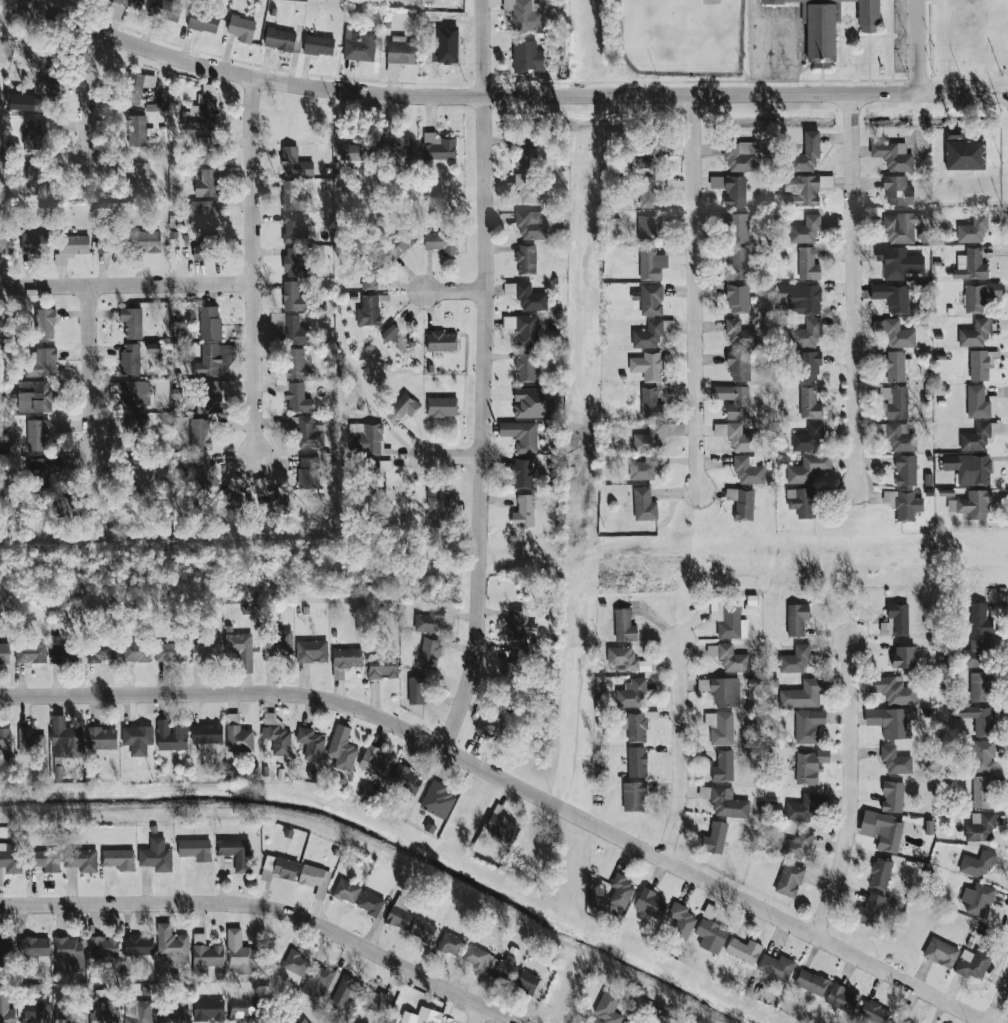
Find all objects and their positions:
building: (153, 7)
road: (753, 11)
building: (524, 14)
building: (868, 16)
road: (774, 21)
building: (203, 22)
building: (241, 28)
building: (818, 31)
building: (280, 39)
building: (359, 44)
building: (318, 45)
road: (921, 47)
building: (400, 53)
building: (527, 56)
building: (49, 62)
building: (50, 86)
building: (137, 87)
road: (87, 92)
road: (503, 96)
building: (202, 112)
building: (136, 130)
building: (33, 133)
building: (399, 147)
building: (438, 147)
building: (203, 151)
building: (352, 152)
building: (963, 152)
building: (526, 153)
building: (806, 153)
building: (893, 155)
building: (740, 157)
building: (643, 162)
building: (294, 163)
building: (140, 177)
building: (35, 182)
building: (207, 183)
building: (528, 186)
building: (801, 190)
building: (897, 190)
building: (734, 191)
building: (649, 192)
building: (292, 195)
building: (204, 214)
building: (530, 224)
building: (648, 226)
building: (737, 227)
building: (900, 227)
building: (292, 228)
building: (973, 229)
building: (805, 230)
building: (147, 241)
building: (442, 242)
building: (35, 243)
building: (5, 245)
building: (106, 245)
building: (398, 245)
building: (71, 247)
building: (204, 247)
building: (526, 259)
building: (293, 262)
building: (738, 263)
building: (898, 263)
road: (252, 264)
building: (651, 264)
building: (808, 264)
building: (971, 265)
building: (369, 273)
road: (126, 285)
road: (852, 290)
road: (455, 291)
road: (694, 292)
building: (526, 296)
building: (979, 296)
building: (293, 297)
building: (892, 297)
building: (802, 298)
building: (651, 299)
building: (738, 299)
building: (368, 311)
building: (132, 322)
building: (209, 322)
building: (45, 323)
building: (291, 328)
building: (524, 330)
building: (390, 333)
building: (895, 333)
building: (976, 333)
building: (739, 334)
building: (807, 334)
building: (648, 335)
building: (441, 341)
building: (130, 359)
building: (213, 359)
building: (41, 362)
building: (294, 363)
building: (979, 365)
building: (647, 366)
building: (739, 366)
building: (808, 366)
building: (895, 366)
building: (525, 367)
road: (89, 370)
road: (484, 377)
building: (134, 394)
building: (34, 396)
building: (295, 396)
building: (210, 397)
building: (733, 400)
building: (533, 402)
building: (895, 402)
building: (977, 402)
building: (809, 403)
building: (650, 404)
building: (442, 406)
building: (400, 409)
building: (135, 424)
building: (306, 431)
building: (200, 434)
building: (37, 435)
building: (521, 435)
building: (737, 436)
building: (649, 437)
building: (900, 437)
building: (365, 438)
building: (808, 438)
road: (455, 457)
building: (38, 468)
building: (644, 468)
building: (808, 468)
building: (969, 468)
building: (905, 470)
building: (748, 471)
building: (308, 472)
building: (206, 473)
building: (523, 473)
building: (271, 498)
building: (233, 501)
building: (801, 502)
building: (742, 503)
building: (644, 504)
building: (903, 504)
building: (975, 504)
building: (66, 507)
building: (441, 509)
building: (523, 512)
building: (108, 513)
building: (728, 619)
building: (796, 619)
building: (980, 619)
building: (895, 620)
building: (428, 621)
building: (520, 625)
building: (624, 625)
building: (280, 646)
building: (240, 649)
building: (311, 651)
building: (100, 652)
building: (136, 652)
building: (171, 652)
building: (205, 652)
building: (4, 653)
building: (31, 653)
building: (430, 653)
building: (977, 653)
building: (65, 654)
building: (729, 657)
building: (903, 657)
building: (795, 659)
building: (515, 663)
building: (382, 667)
building: (979, 686)
building: (416, 690)
building: (892, 690)
building: (725, 692)
building: (630, 693)
building: (802, 694)
building: (891, 721)
building: (982, 721)
building: (489, 723)
building: (807, 725)
building: (634, 726)
building: (720, 727)
building: (171, 735)
building: (237, 735)
building: (5, 738)
building: (64, 738)
building: (102, 738)
building: (137, 738)
building: (277, 738)
building: (30, 742)
building: (310, 743)
building: (341, 748)
road: (679, 751)
building: (983, 755)
building: (894, 760)
building: (374, 761)
building: (637, 761)
building: (723, 766)
building: (807, 767)
building: (405, 780)
road: (513, 784)
road: (848, 789)
building: (982, 791)
building: (633, 796)
building: (892, 796)
building: (437, 800)
building: (727, 802)
building: (800, 808)
building: (979, 826)
building: (501, 827)
building: (887, 832)
building: (714, 837)
building: (796, 844)
building: (194, 849)
building: (235, 852)
building: (155, 855)
building: (9, 859)
building: (44, 859)
building: (81, 859)
building: (118, 859)
building: (977, 863)
building: (278, 868)
building: (879, 873)
building: (314, 878)
building: (789, 879)
building: (345, 890)
building: (619, 890)
building: (977, 898)
building: (370, 903)
building: (650, 903)
road: (268, 908)
building: (869, 910)
building: (399, 912)
building: (681, 920)
building: (422, 929)
building: (710, 931)
building: (450, 943)
building: (137, 944)
building: (171, 944)
building: (33, 946)
building: (103, 946)
building: (743, 949)
building: (69, 951)
building: (5, 952)
building: (940, 952)
building: (204, 954)
building: (239, 954)
building: (474, 955)
building: (295, 962)
building: (972, 963)
building: (503, 966)
building: (775, 966)
building: (317, 981)
building: (526, 981)
building: (810, 982)
building: (344, 990)
building: (842, 998)
building: (373, 999)
road: (999, 1006)
building: (241, 1007)
building: (207, 1008)
building: (607, 1008)
building: (6, 1011)
building: (137, 1011)
building: (35, 1012)
building: (873, 1012)
building: (113, 1014)
building: (171, 1015)
road: (476, 1015)
building: (69, 1016)
building: (420, 1016)
building: (901, 1018)
building: (304, 1020)
building: (92, 1022)
building: (624, 1022)

